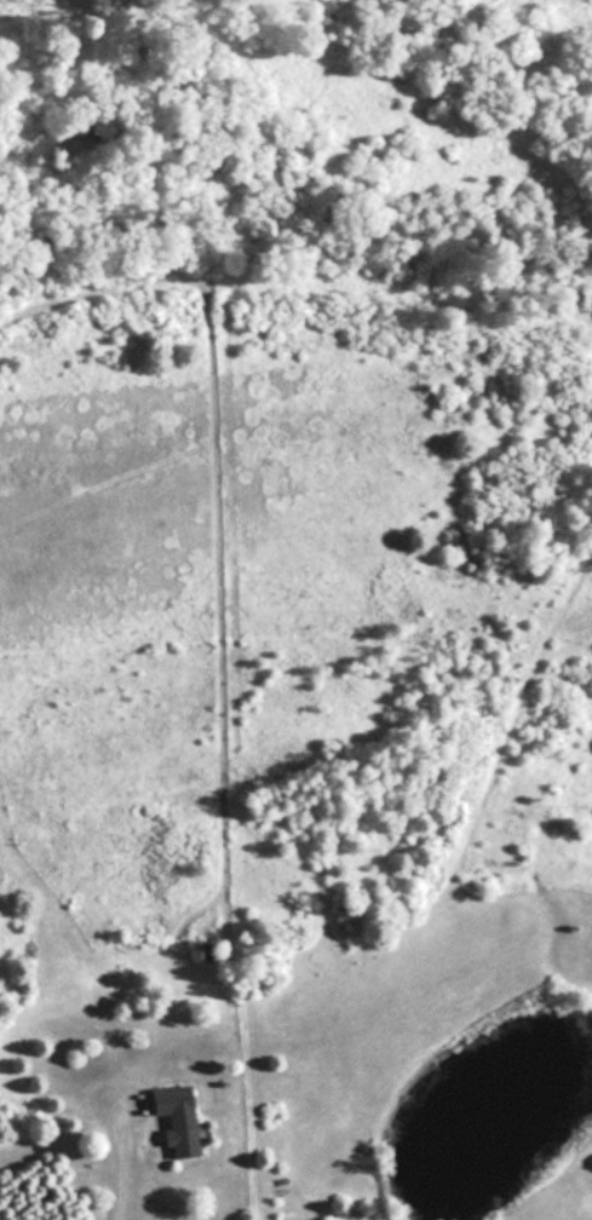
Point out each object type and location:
building: (171, 1118)
road: (113, 1161)

